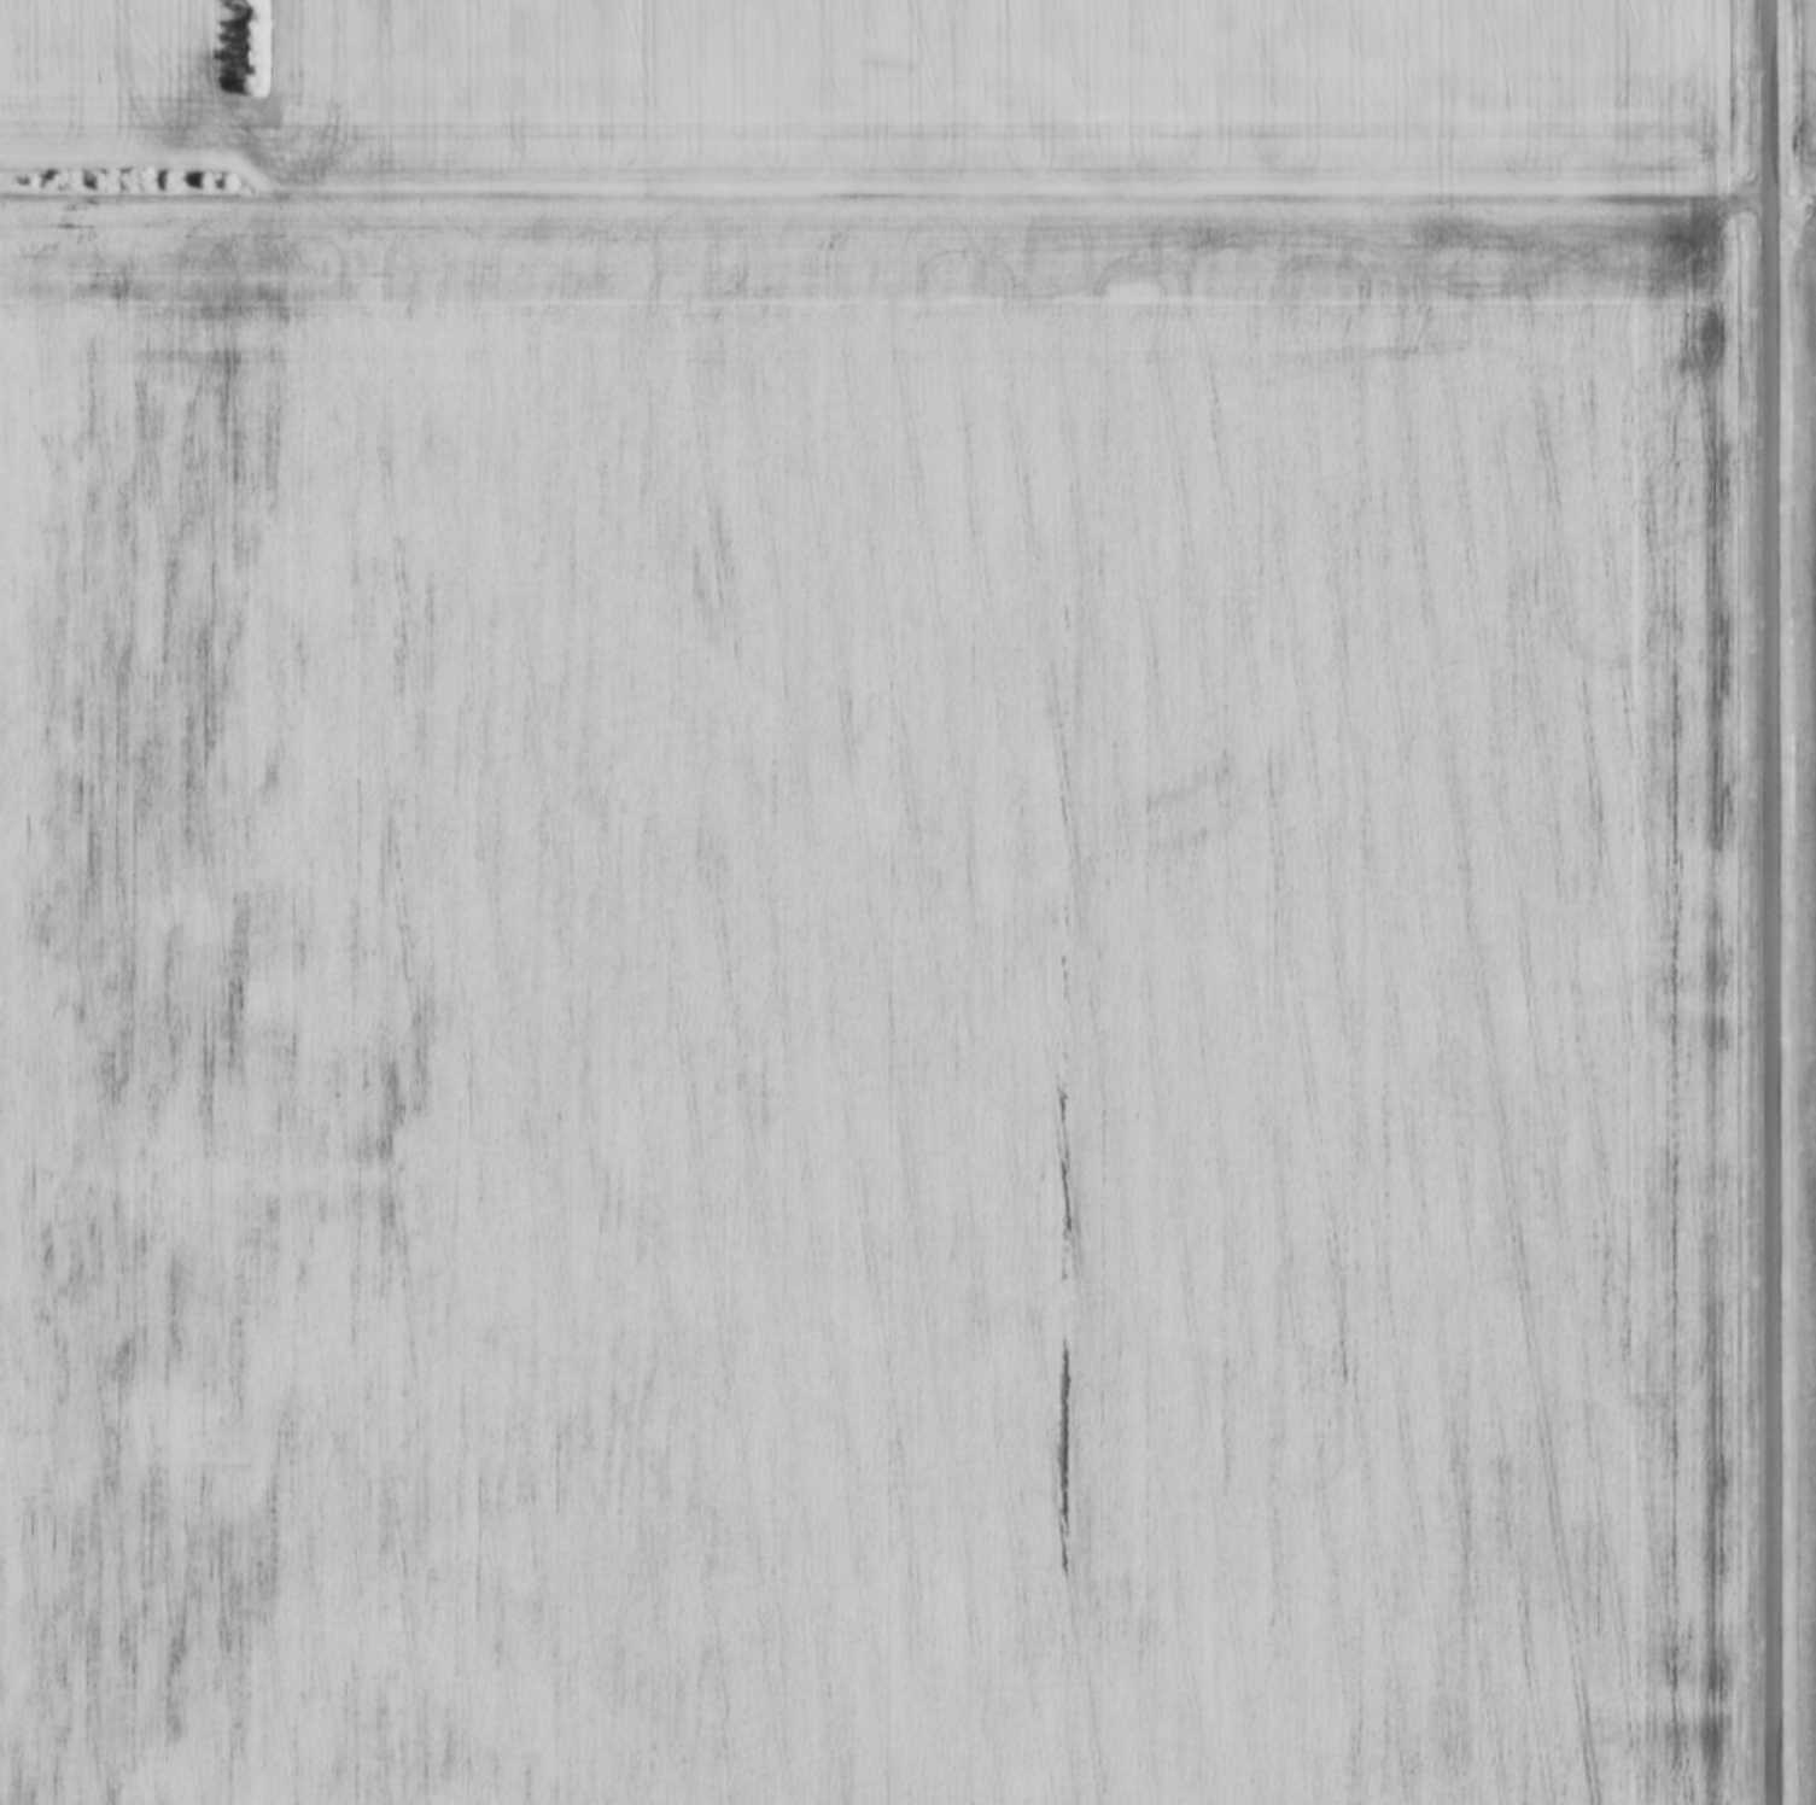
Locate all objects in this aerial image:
road: (886, 199)
road: (1771, 902)

